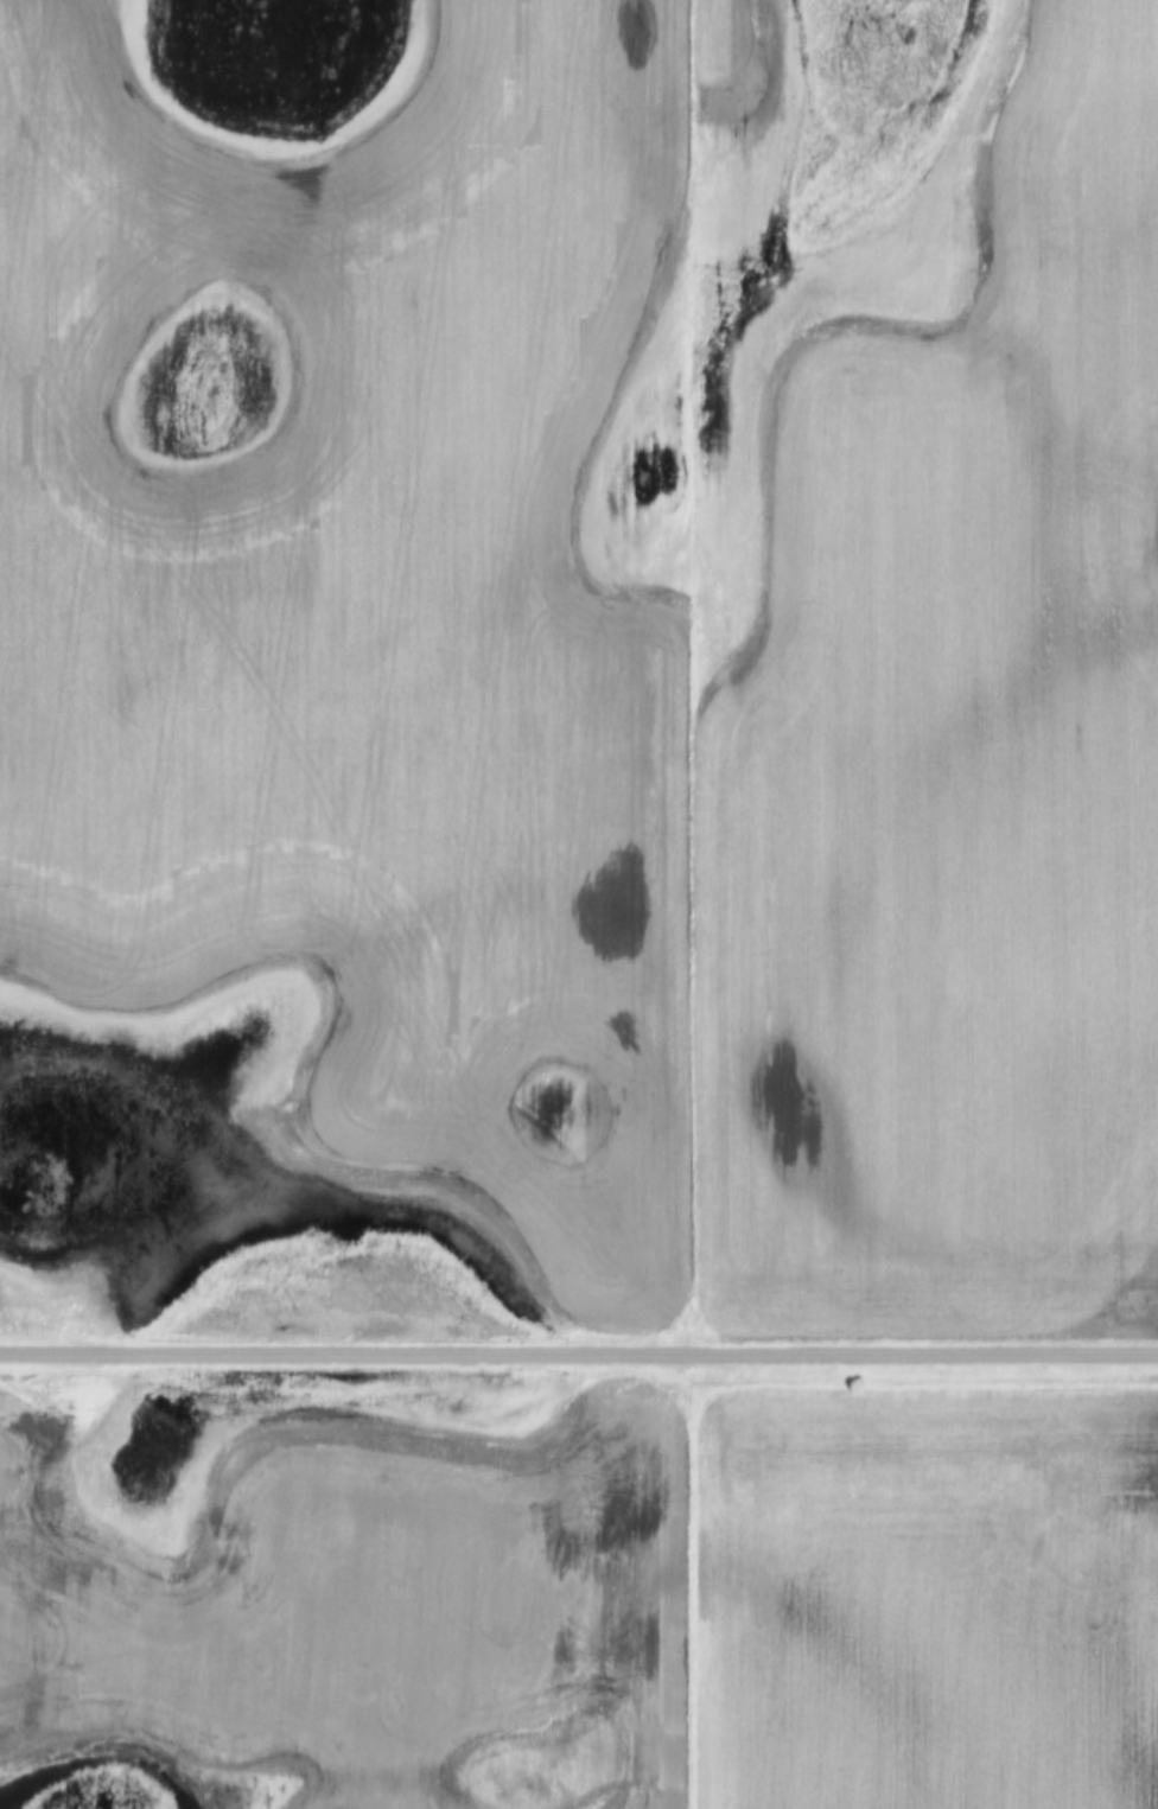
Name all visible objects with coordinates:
road: (578, 1358)

